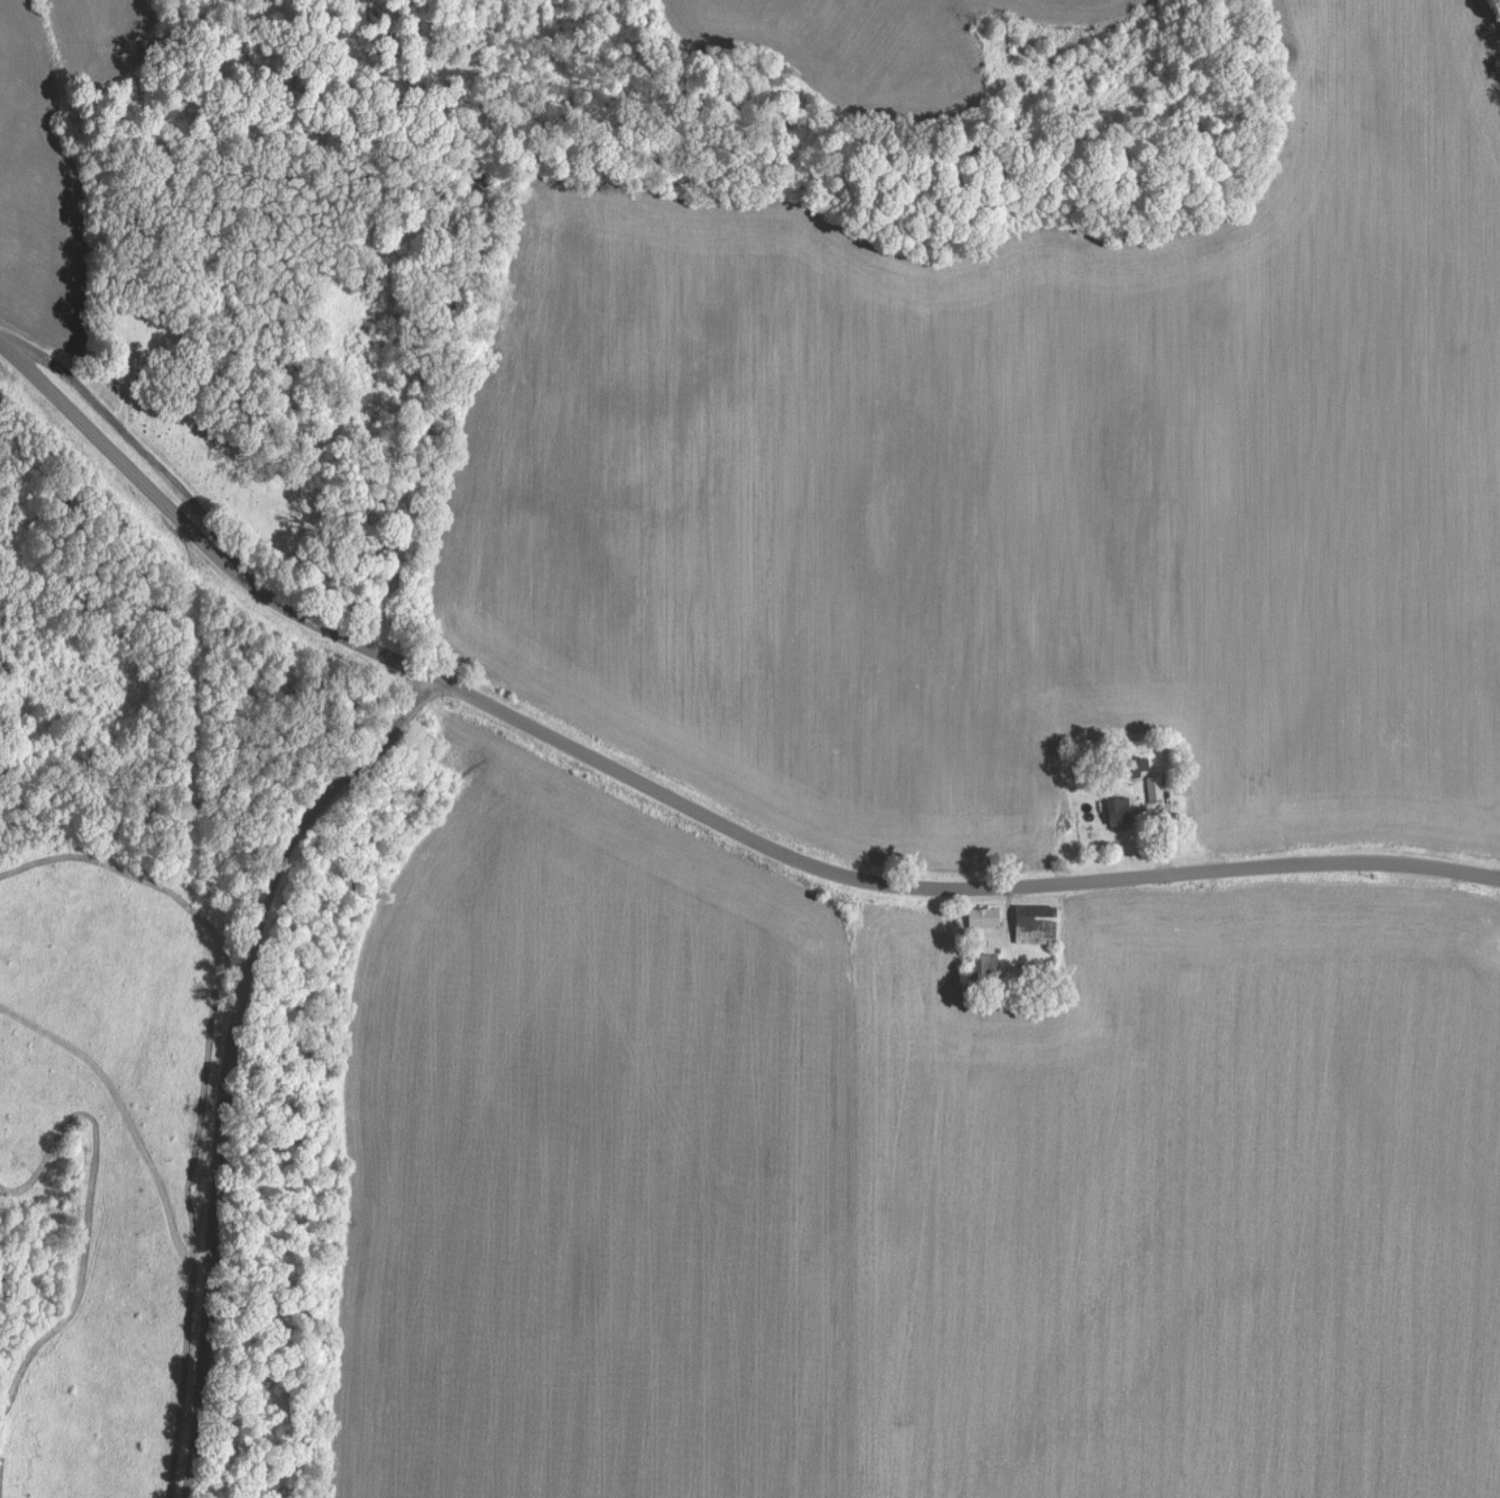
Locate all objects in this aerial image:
park: (208, 448)
road: (195, 538)
building: (1159, 789)
building: (1124, 806)
road: (938, 893)
building: (986, 917)
building: (1039, 924)
road: (235, 1064)

